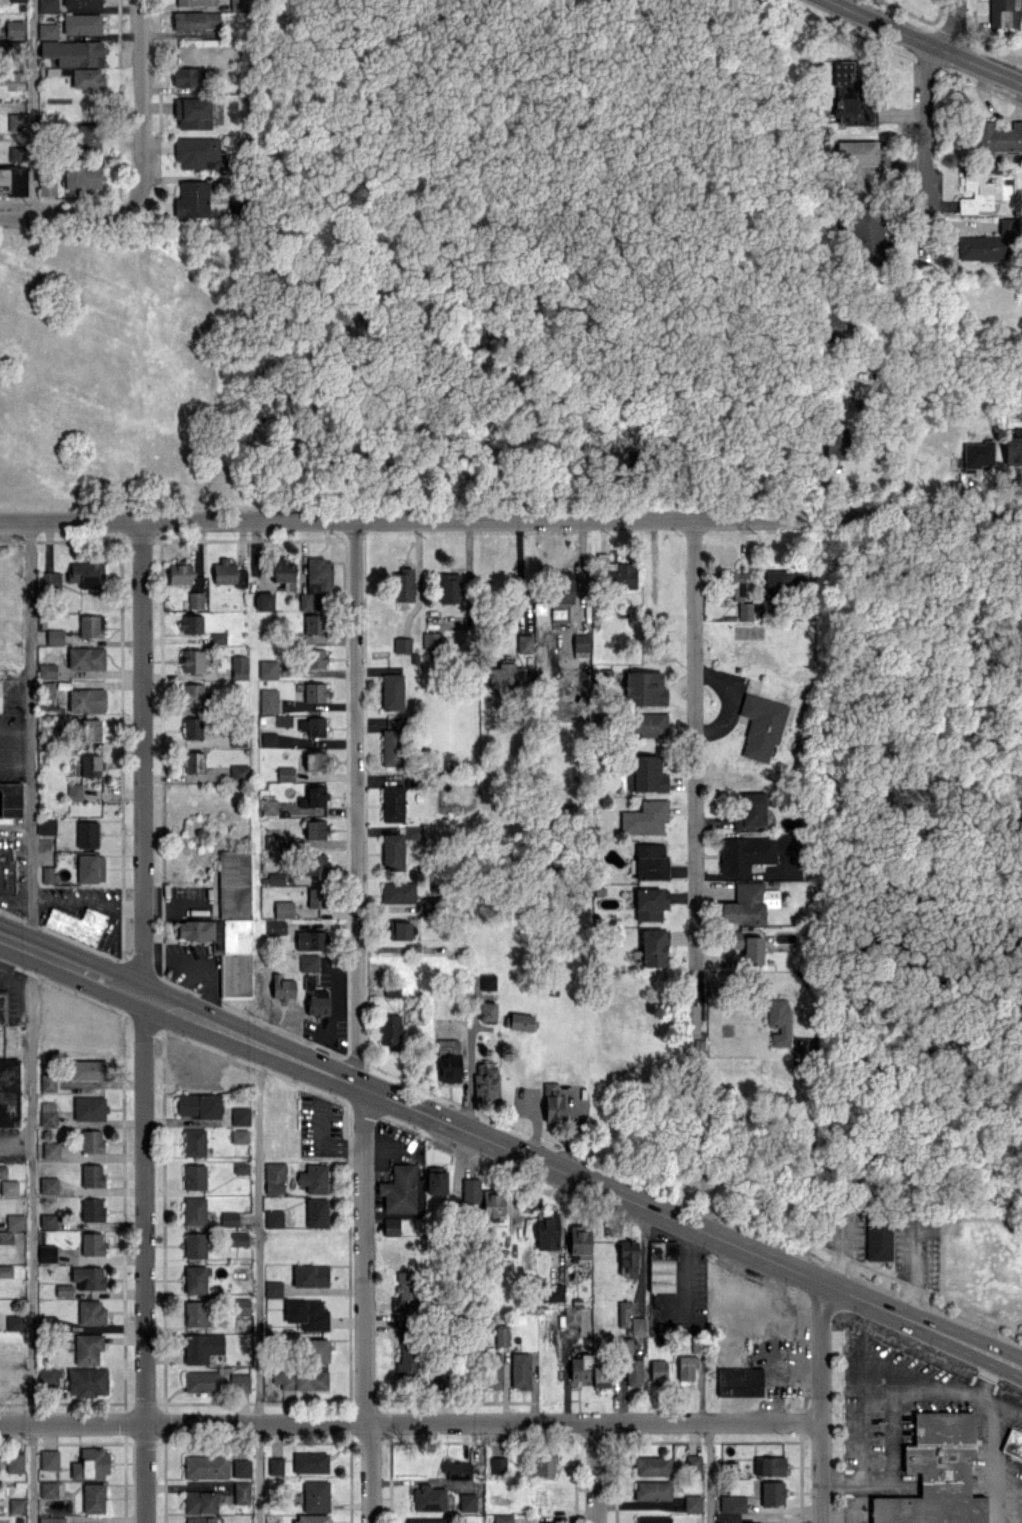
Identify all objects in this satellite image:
road: (922, 43)
road: (144, 101)
road: (926, 104)
road: (32, 106)
road: (71, 211)
road: (830, 395)
road: (511, 518)
road: (581, 570)
road: (14, 730)
road: (29, 735)
road: (692, 738)
road: (14, 765)
road: (358, 803)
road: (86, 904)
road: (106, 941)
road: (17, 943)
building: (308, 962)
building: (282, 986)
building: (317, 1001)
road: (174, 1009)
road: (331, 1018)
road: (142, 1022)
building: (387, 1026)
building: (449, 1069)
road: (472, 1070)
road: (15, 1143)
road: (668, 1217)
road: (30, 1236)
road: (640, 1254)
road: (259, 1283)
road: (365, 1304)
road: (820, 1402)
road: (998, 1402)
road: (892, 1412)
road: (410, 1423)
road: (708, 1472)
road: (596, 1473)

